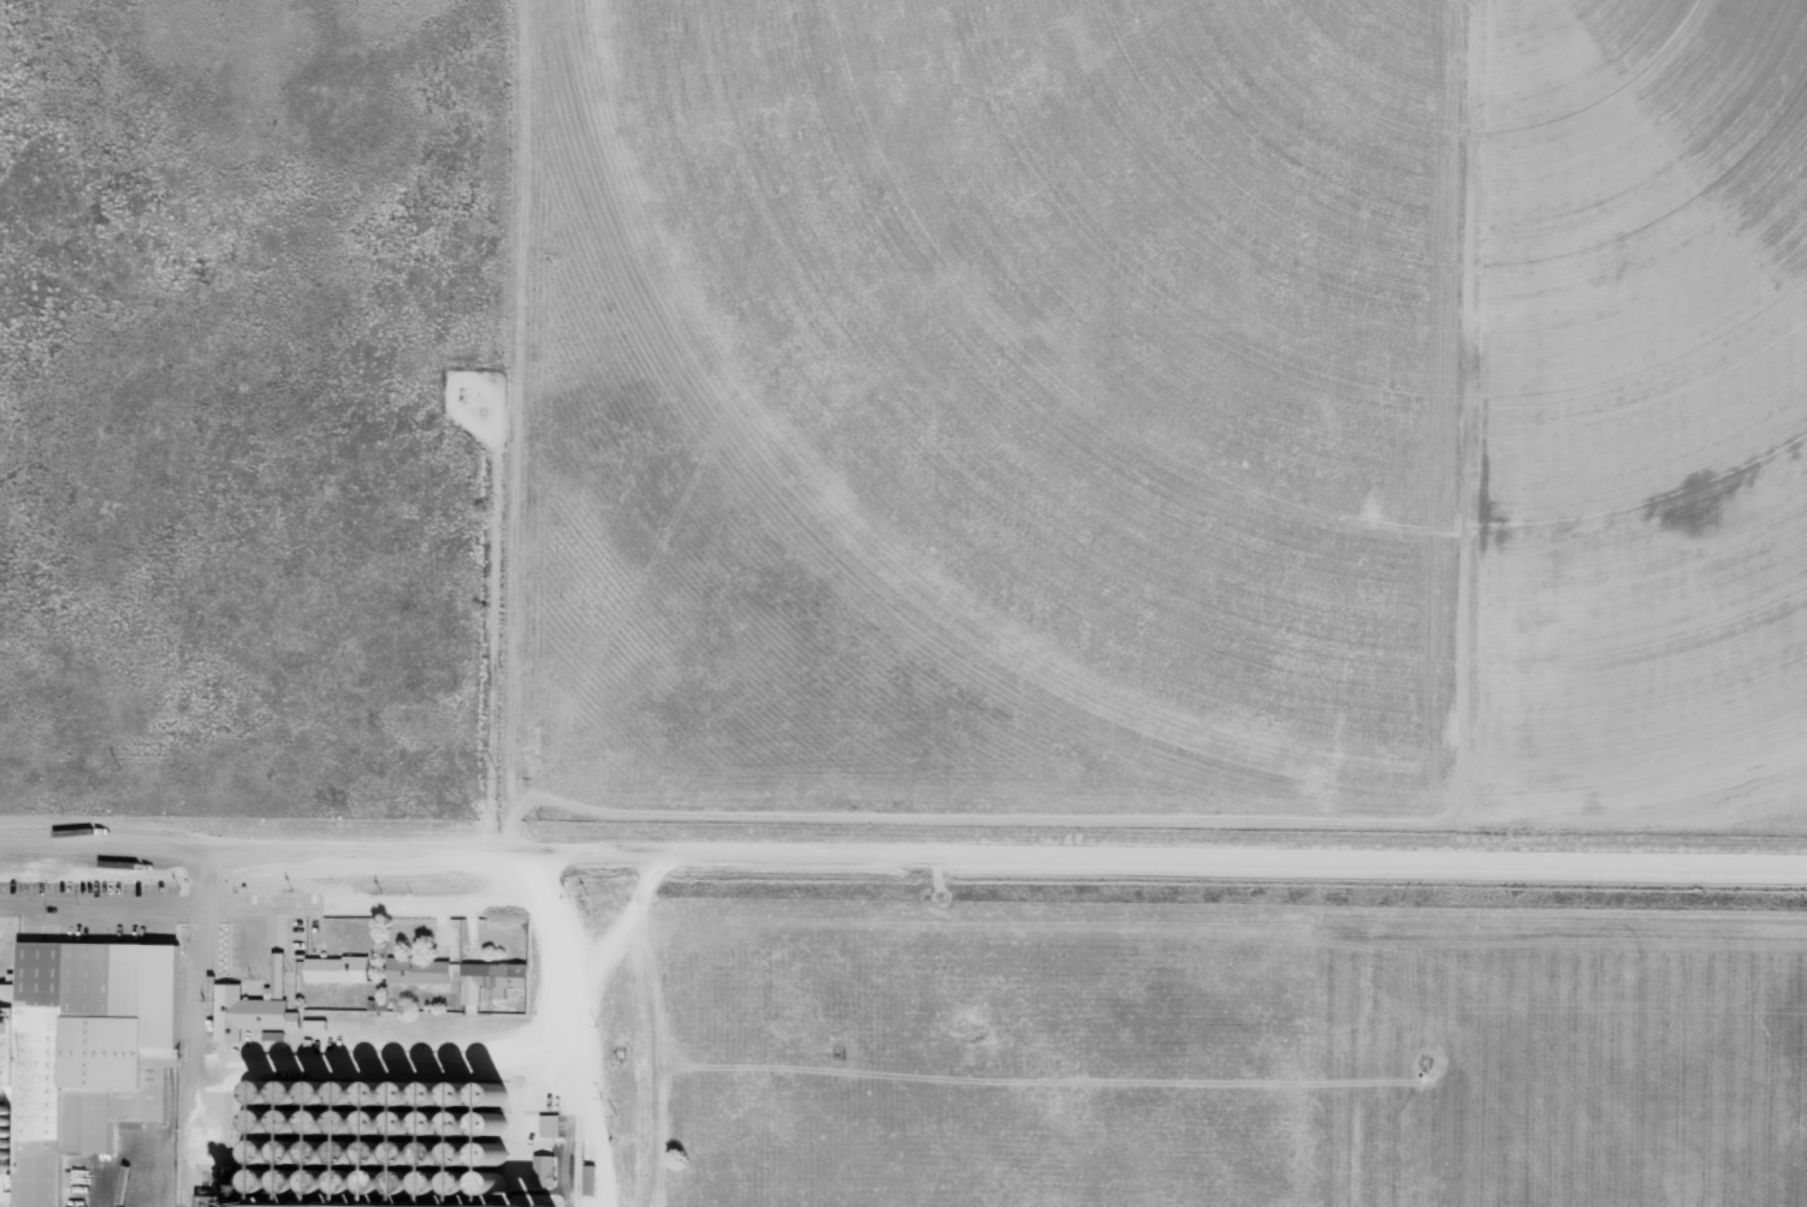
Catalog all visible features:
road: (902, 866)
road: (433, 905)
road: (604, 951)
building: (337, 971)
building: (419, 974)
building: (496, 977)
building: (245, 1015)
building: (71, 1059)
railway: (179, 1070)
building: (588, 1181)

